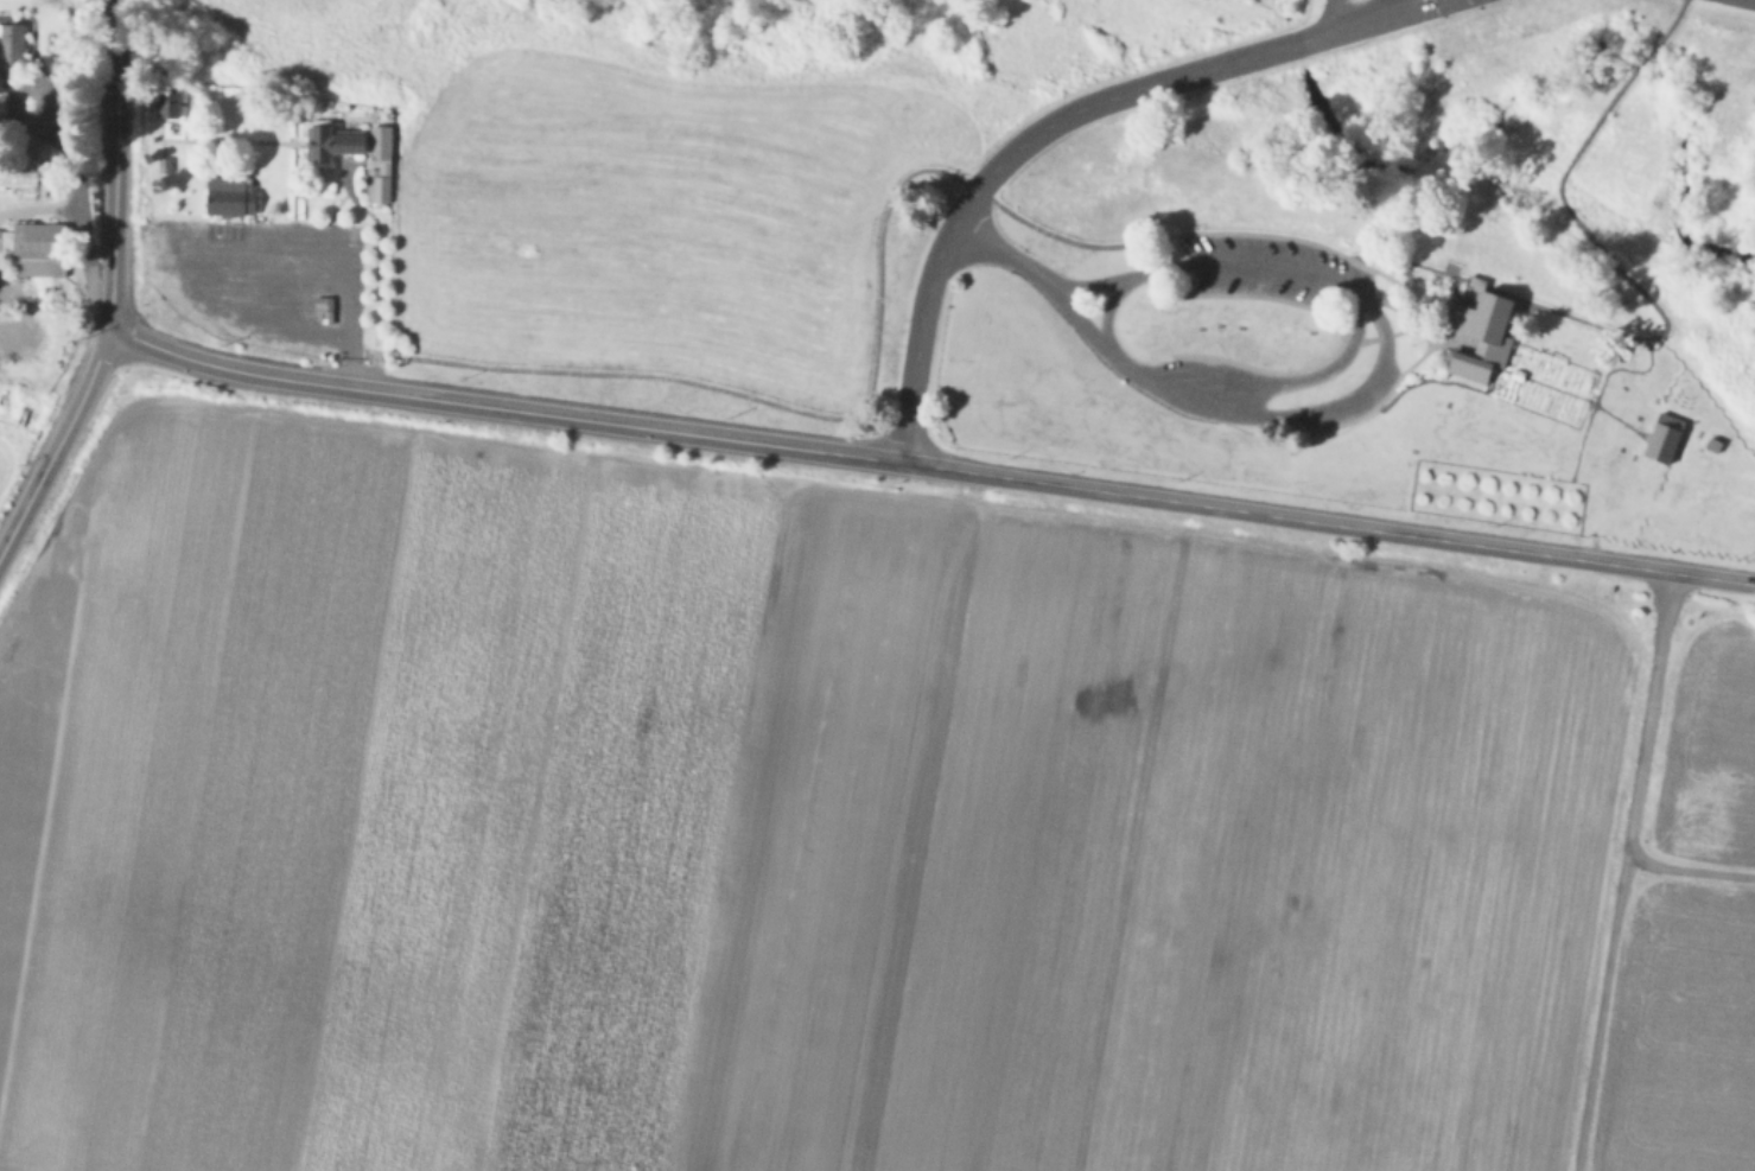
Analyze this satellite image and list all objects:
road: (1331, 15)
road: (1367, 15)
road: (122, 28)
building: (11, 39)
building: (1, 102)
building: (172, 103)
building: (328, 141)
road: (1012, 149)
building: (377, 164)
building: (27, 166)
road: (114, 192)
road: (1106, 243)
building: (36, 249)
road: (997, 249)
road: (1225, 262)
parking lot: (1266, 266)
parking lot: (261, 280)
building: (323, 308)
road: (1423, 327)
road: (349, 332)
building: (1477, 336)
road: (1406, 361)
parking lot: (1194, 388)
road: (1577, 393)
building: (1661, 438)
road: (58, 443)
road: (929, 465)
building: (1594, 785)
crop: (833, 830)
road: (1687, 864)
road: (1616, 871)
building: (1481, 1143)

